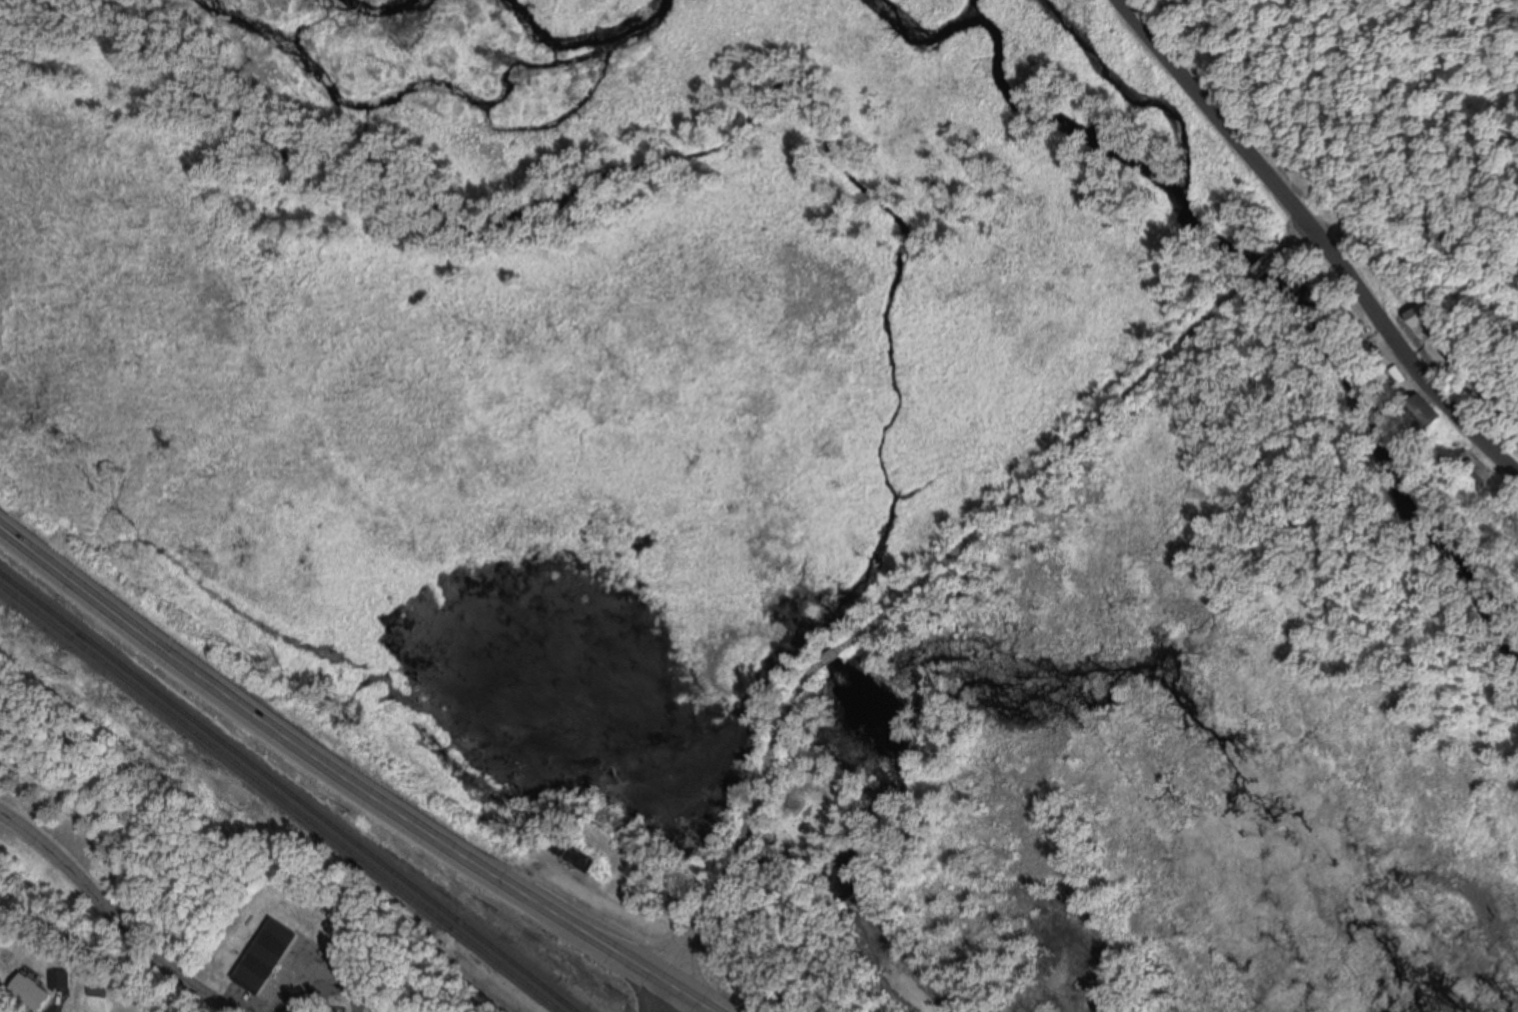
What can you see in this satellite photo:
road: (1214, 113)
building: (1423, 316)
road: (1405, 356)
building: (1476, 466)
road: (936, 567)
road: (351, 780)
railway: (289, 791)
railway: (280, 797)
building: (574, 851)
road: (115, 911)
building: (265, 955)
building: (60, 977)
building: (31, 990)
road: (339, 990)
road: (658, 996)

